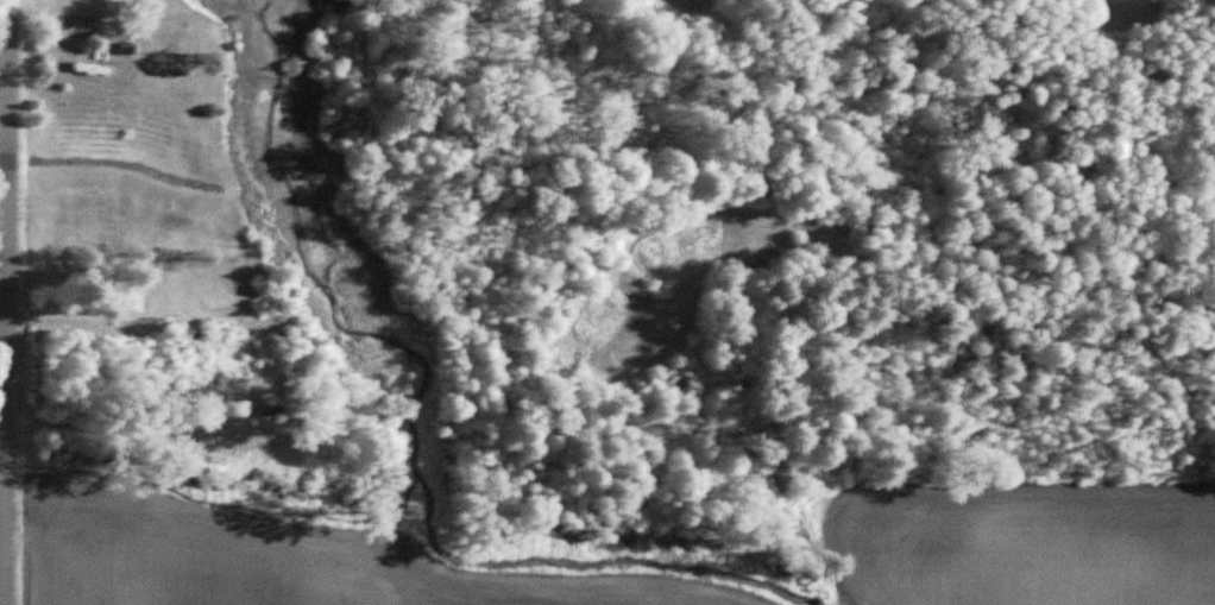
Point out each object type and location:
building: (92, 74)
road: (6, 302)
road: (2, 336)

